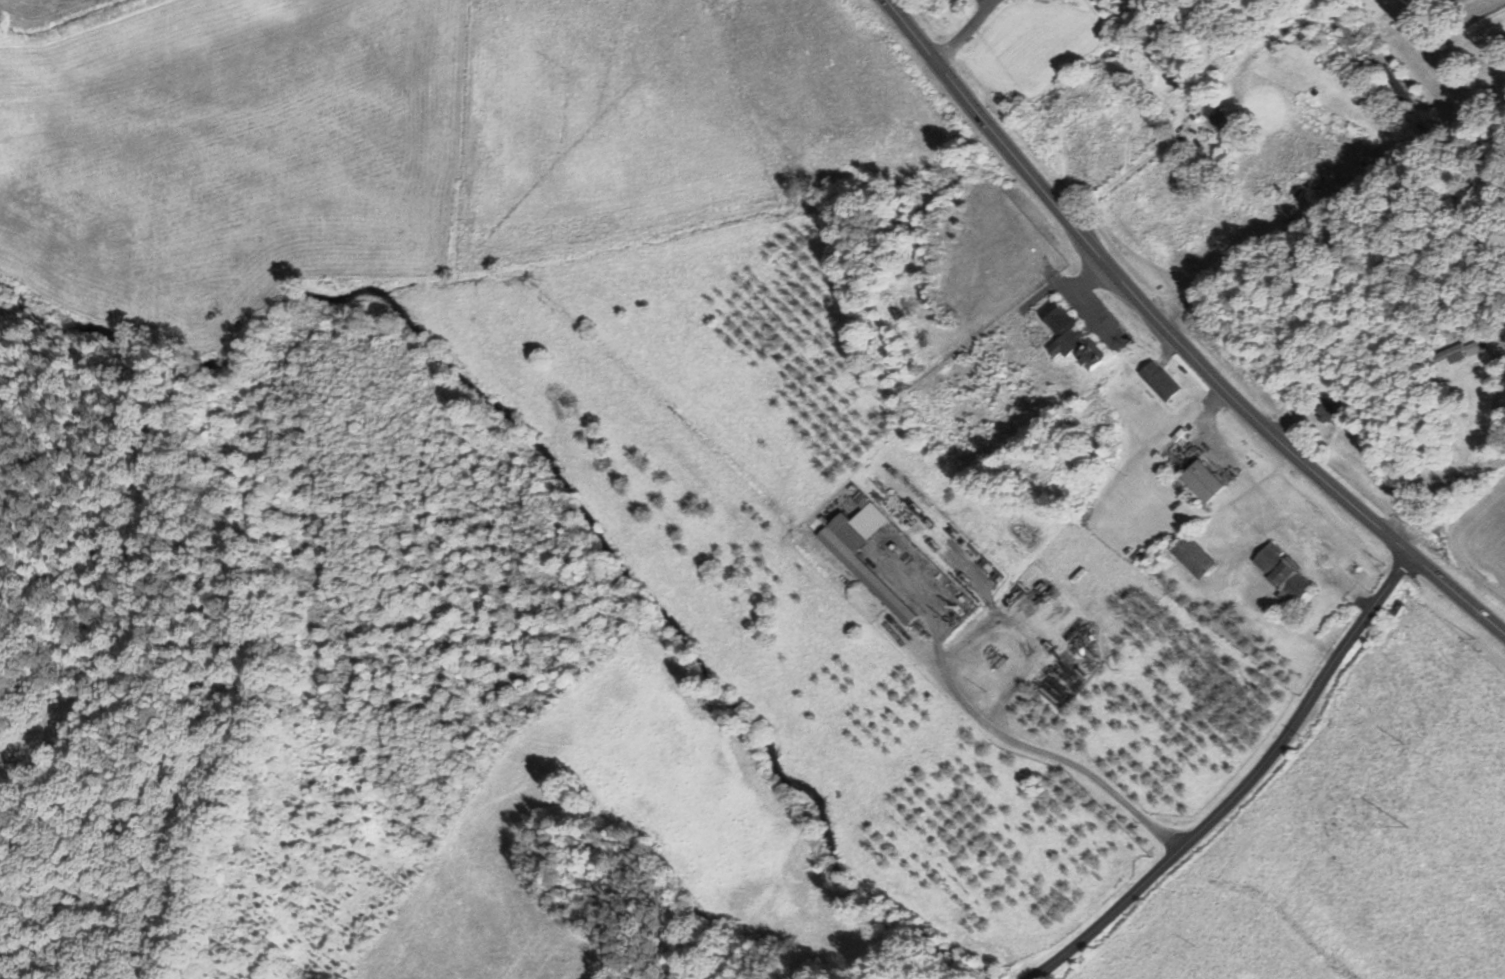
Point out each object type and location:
road: (966, 32)
building: (1214, 116)
road: (1120, 180)
road: (1327, 204)
building: (1069, 337)
road: (1176, 338)
building: (1458, 352)
building: (1159, 381)
building: (1327, 411)
building: (1200, 481)
road: (1443, 493)
building: (1191, 555)
building: (1280, 572)
building: (874, 583)
road: (996, 729)
road: (1252, 789)
power tower: (1406, 828)

